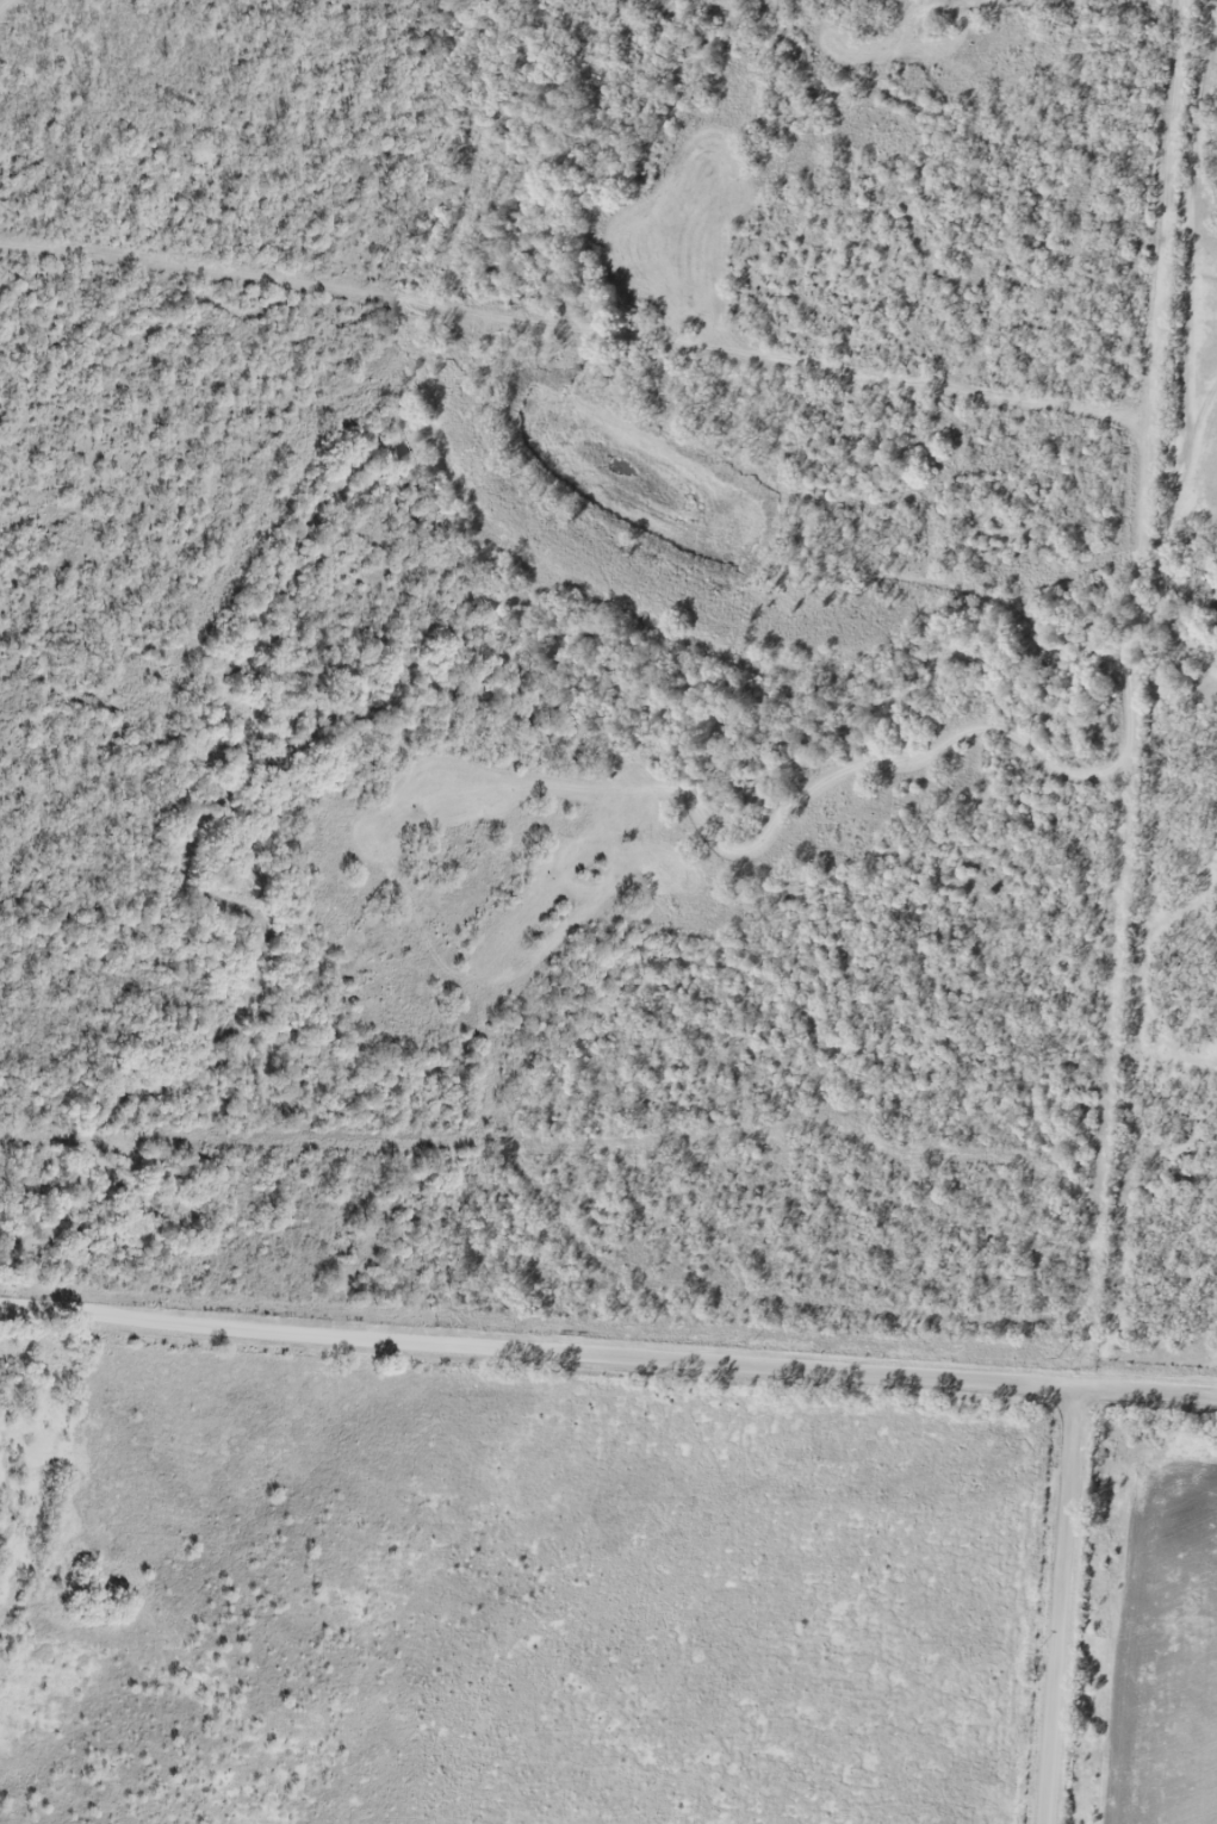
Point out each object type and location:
road: (5, 5)
road: (609, 1342)
road: (1054, 1608)

